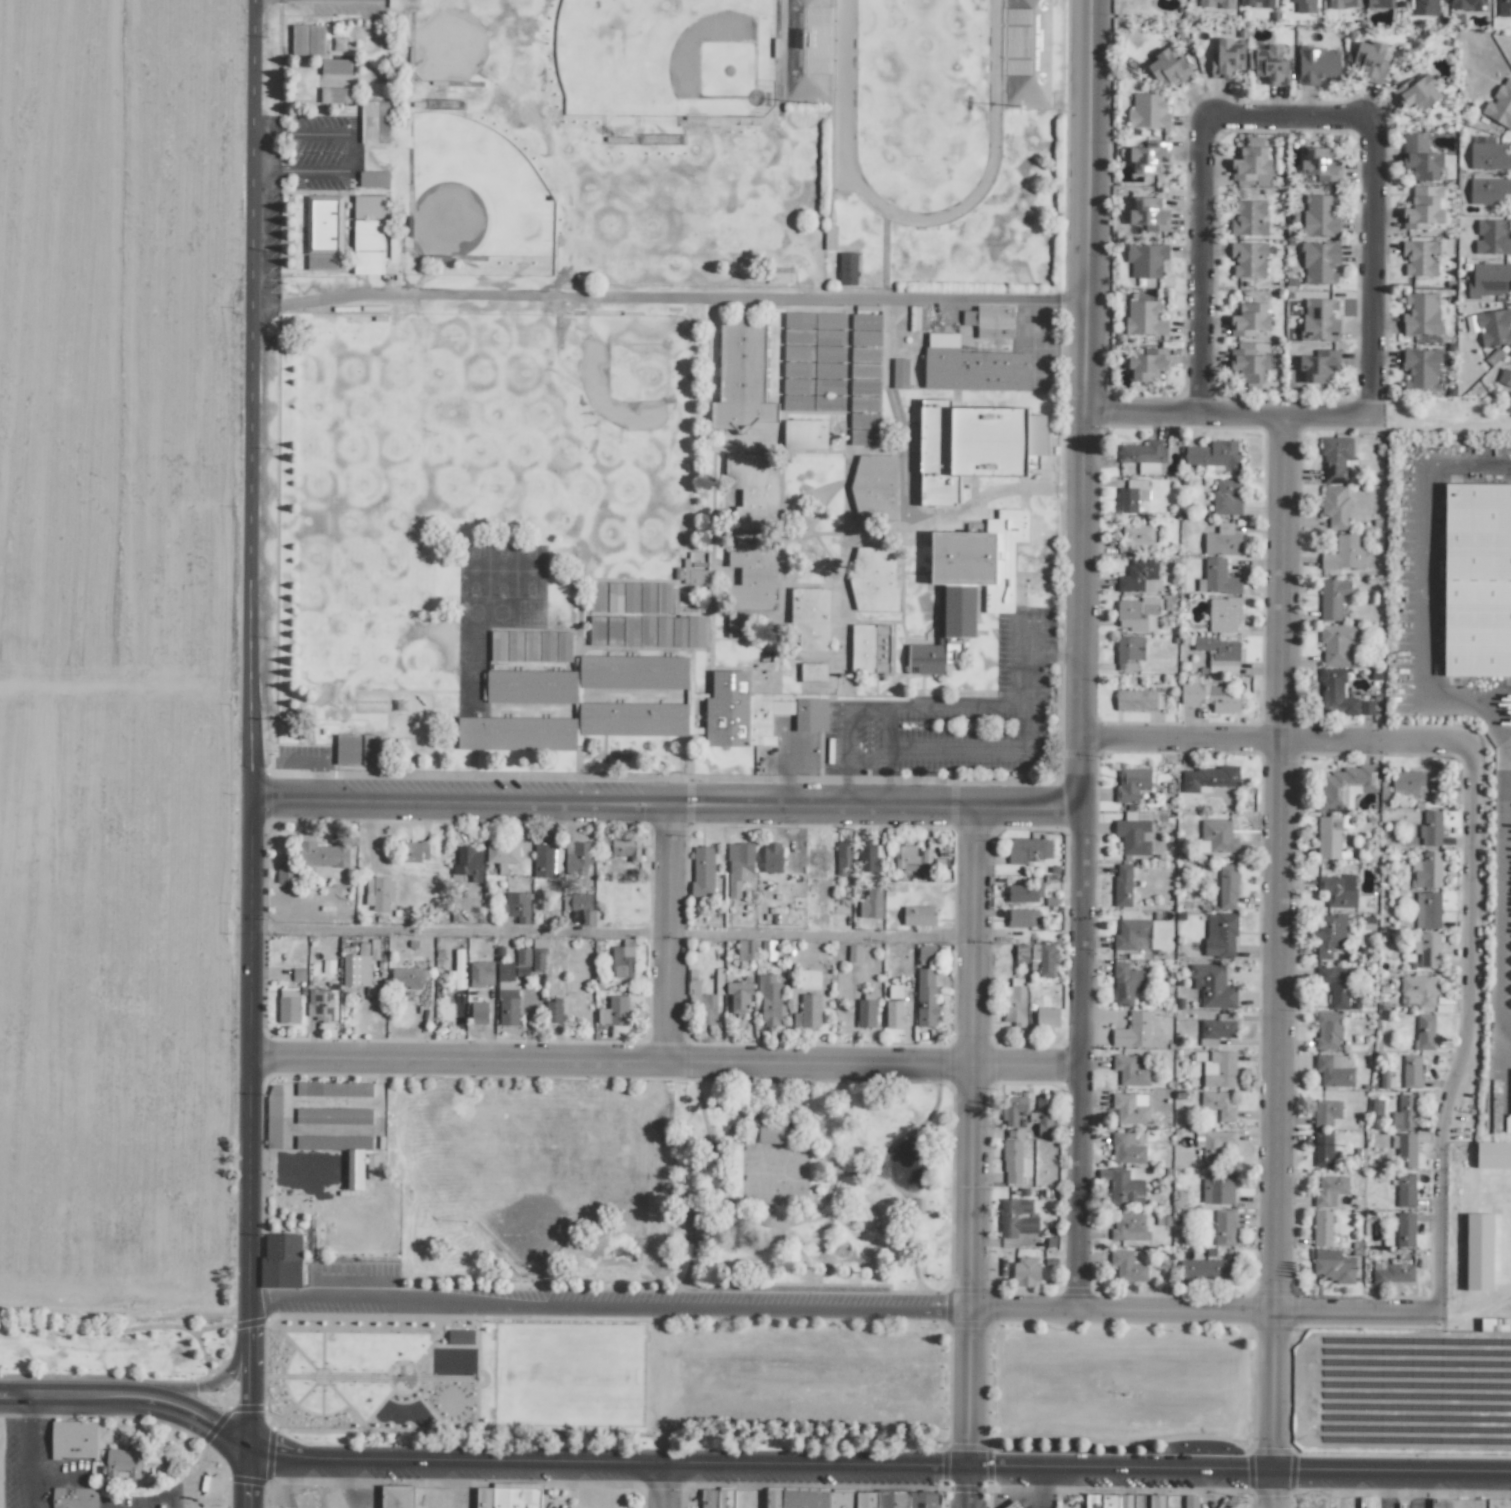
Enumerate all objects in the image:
building: (1257, 3)
building: (1379, 3)
building: (1216, 4)
building: (1345, 4)
building: (1469, 4)
building: (1304, 6)
building: (1425, 7)
building: (1504, 8)
building: (307, 40)
building: (1227, 58)
building: (1370, 61)
building: (1268, 64)
building: (1317, 64)
building: (335, 67)
building: (1169, 69)
building: (1417, 93)
building: (335, 95)
building: (1499, 107)
building: (1148, 111)
road: (1289, 119)
building: (374, 122)
road: (353, 152)
building: (1149, 157)
building: (1419, 157)
building: (1489, 157)
building: (1252, 164)
building: (1320, 164)
building: (373, 179)
building: (1488, 190)
building: (1423, 207)
road: (1088, 209)
building: (1148, 214)
building: (1320, 215)
building: (1249, 218)
building: (323, 232)
building: (368, 234)
building: (1492, 237)
building: (1419, 256)
building: (1146, 259)
building: (1248, 259)
building: (1320, 262)
road: (1376, 267)
building: (847, 268)
road: (1201, 268)
building: (779, 275)
building: (1488, 280)
road: (671, 297)
building: (1421, 314)
building: (917, 318)
building: (1144, 318)
building: (1249, 319)
building: (1319, 320)
building: (866, 321)
building: (990, 321)
building: (1491, 326)
building: (814, 337)
building: (865, 338)
building: (865, 354)
building: (1147, 364)
building: (972, 366)
building: (1249, 366)
building: (1319, 366)
building: (1420, 370)
building: (865, 371)
building: (900, 373)
building: (742, 376)
building: (1504, 377)
building: (805, 382)
building: (828, 387)
building: (865, 387)
building: (828, 403)
building: (864, 404)
road: (1233, 416)
building: (864, 420)
building: (805, 434)
building: (864, 437)
building: (974, 445)
building: (1212, 454)
building: (1144, 455)
building: (1336, 458)
building: (875, 487)
building: (749, 490)
building: (1131, 495)
building: (1227, 497)
building: (1335, 506)
building: (1136, 538)
building: (1222, 540)
building: (1344, 554)
building: (694, 572)
building: (752, 576)
building: (1138, 576)
building: (1217, 578)
building: (874, 579)
building: (970, 580)
building: (1477, 580)
building: (597, 597)
building: (614, 597)
building: (631, 597)
building: (647, 597)
building: (663, 598)
building: (1332, 598)
building: (1138, 614)
building: (1223, 614)
building: (810, 619)
building: (740, 626)
building: (596, 630)
building: (630, 630)
building: (646, 630)
building: (614, 631)
building: (679, 632)
building: (1336, 643)
building: (498, 646)
building: (514, 646)
building: (530, 646)
building: (547, 646)
building: (563, 646)
building: (871, 648)
building: (1129, 652)
building: (1219, 654)
building: (813, 671)
building: (633, 672)
building: (529, 686)
building: (1335, 693)
building: (1210, 697)
building: (1138, 700)
road: (1461, 703)
building: (1366, 707)
road: (850, 709)
building: (754, 712)
building: (516, 733)
road: (1277, 744)
building: (347, 749)
building: (370, 749)
road: (255, 754)
road: (317, 761)
building: (1207, 779)
building: (1131, 784)
building: (1407, 784)
building: (1345, 787)
road: (670, 811)
building: (1218, 835)
building: (1134, 836)
building: (1329, 837)
building: (603, 846)
building: (626, 848)
building: (1028, 850)
building: (413, 851)
building: (323, 854)
building: (502, 854)
building: (910, 855)
building: (577, 857)
building: (772, 857)
building: (843, 857)
building: (869, 857)
building: (468, 863)
road: (1086, 865)
building: (739, 866)
road: (1286, 866)
building: (1428, 870)
building: (702, 871)
building: (283, 872)
building: (1123, 885)
building: (1228, 886)
building: (1024, 892)
building: (1336, 892)
building: (380, 894)
building: (871, 903)
building: (579, 905)
building: (517, 906)
building: (1427, 910)
building: (918, 916)
building: (1022, 918)
road: (464, 931)
building: (1132, 935)
building: (1220, 935)
building: (1329, 935)
road: (826, 936)
road: (673, 942)
building: (746, 950)
building: (768, 950)
building: (1428, 950)
building: (1021, 953)
building: (853, 954)
building: (926, 955)
building: (522, 957)
building: (538, 958)
building: (622, 961)
building: (357, 969)
building: (505, 971)
building: (481, 974)
building: (408, 977)
building: (1126, 984)
building: (1335, 985)
building: (1212, 986)
building: (894, 991)
building: (1419, 992)
building: (739, 993)
building: (926, 997)
building: (769, 999)
building: (1014, 1001)
building: (320, 1004)
building: (702, 1004)
building: (288, 1005)
building: (508, 1007)
building: (553, 1010)
building: (614, 1011)
building: (809, 1011)
building: (865, 1011)
building: (479, 1013)
building: (893, 1014)
building: (1047, 1017)
building: (1217, 1029)
building: (1133, 1031)
building: (1328, 1031)
building: (1424, 1032)
road: (1470, 1035)
road: (977, 1066)
building: (1132, 1069)
building: (1219, 1069)
building: (1333, 1071)
building: (1411, 1071)
road: (672, 1073)
building: (333, 1089)
building: (1218, 1104)
building: (1131, 1108)
building: (1013, 1110)
building: (1326, 1112)
building: (1405, 1112)
building: (273, 1115)
building: (333, 1116)
building: (1044, 1116)
building: (1505, 1122)
building: (773, 1134)
building: (1212, 1144)
building: (1126, 1149)
building: (1404, 1149)
building: (1322, 1150)
building: (1493, 1155)
building: (1012, 1161)
building: (354, 1169)
building: (1122, 1187)
building: (1218, 1188)
building: (1330, 1190)
building: (1405, 1190)
park: (685, 1194)
building: (1017, 1217)
building: (1224, 1227)
building: (1129, 1228)
building: (1322, 1228)
building: (1405, 1229)
building: (1479, 1251)
building: (281, 1261)
building: (1332, 1265)
building: (1128, 1266)
building: (1206, 1269)
building: (1026, 1271)
building: (1392, 1272)
road: (609, 1308)
road: (126, 1310)
road: (1200, 1314)
building: (1494, 1324)
building: (460, 1337)
road: (191, 1389)
road: (133, 1397)
road: (968, 1410)
road: (1275, 1412)
road: (18, 1452)
building: (62, 1453)
building: (122, 1463)
road: (881, 1465)
road: (663, 1484)
road: (1040, 1487)
building: (75, 1497)
building: (396, 1497)
building: (507, 1498)
building: (716, 1498)
building: (850, 1499)
building: (1124, 1501)
building: (1190, 1501)
building: (1231, 1502)
building: (1367, 1502)
building: (1440, 1503)
building: (1014, 1504)

